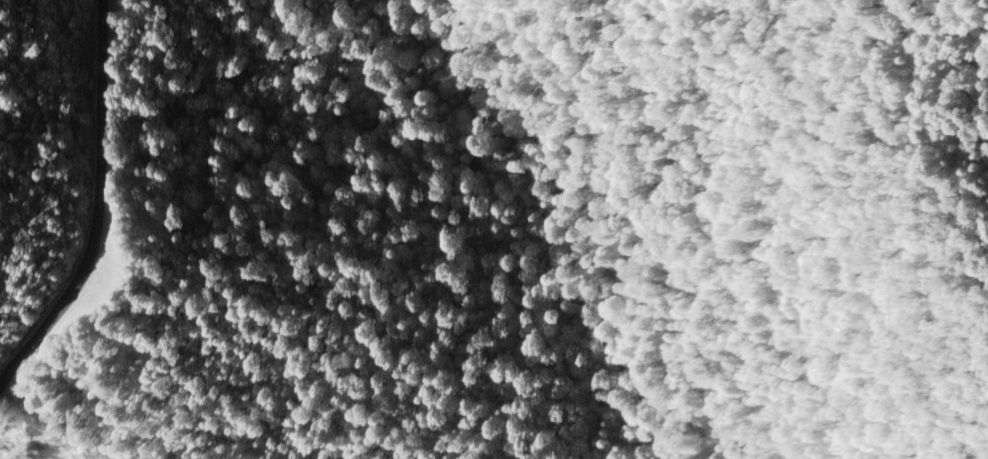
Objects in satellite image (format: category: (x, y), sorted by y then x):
road: (99, 207)

